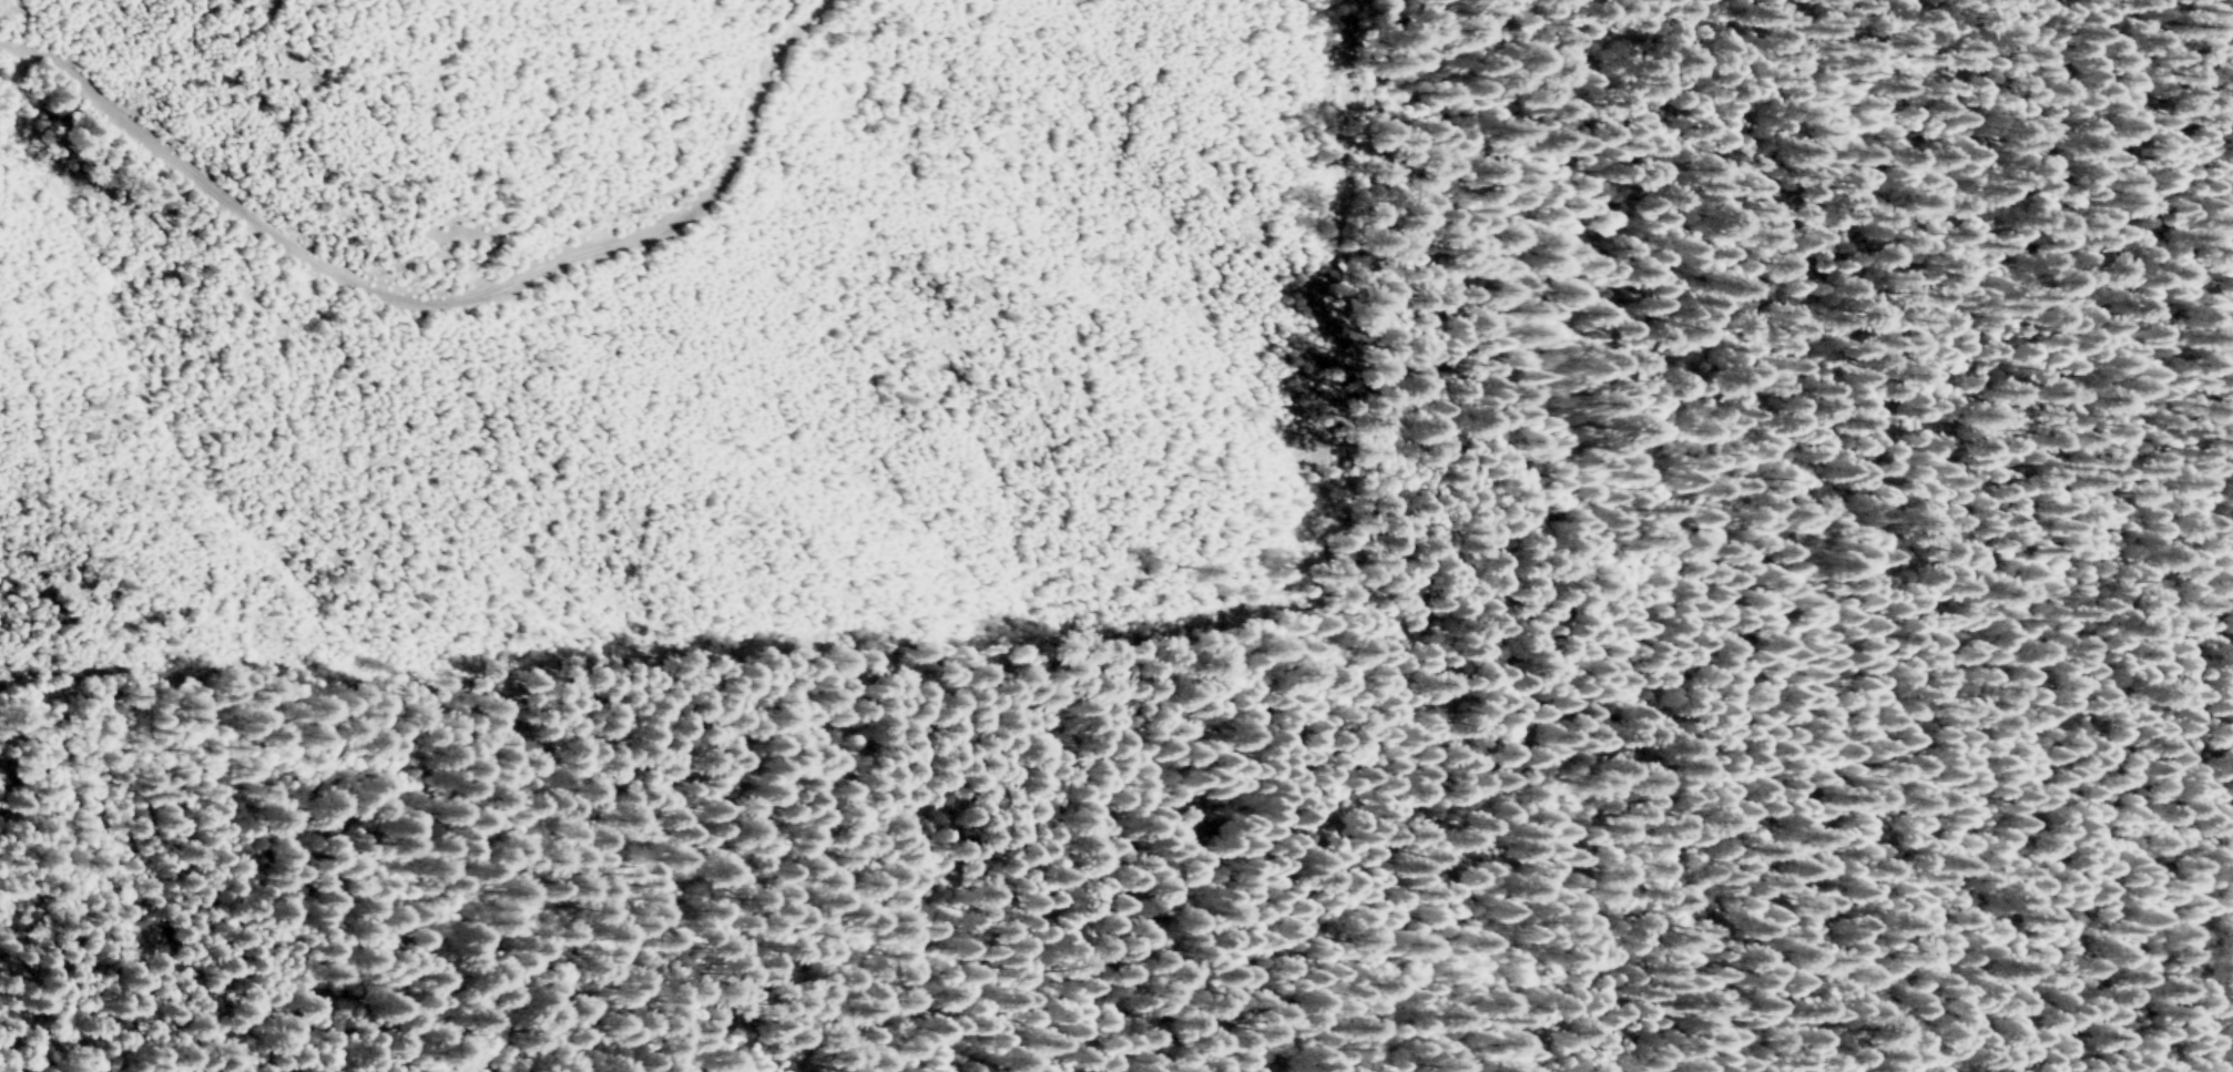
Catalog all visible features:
road: (432, 298)

